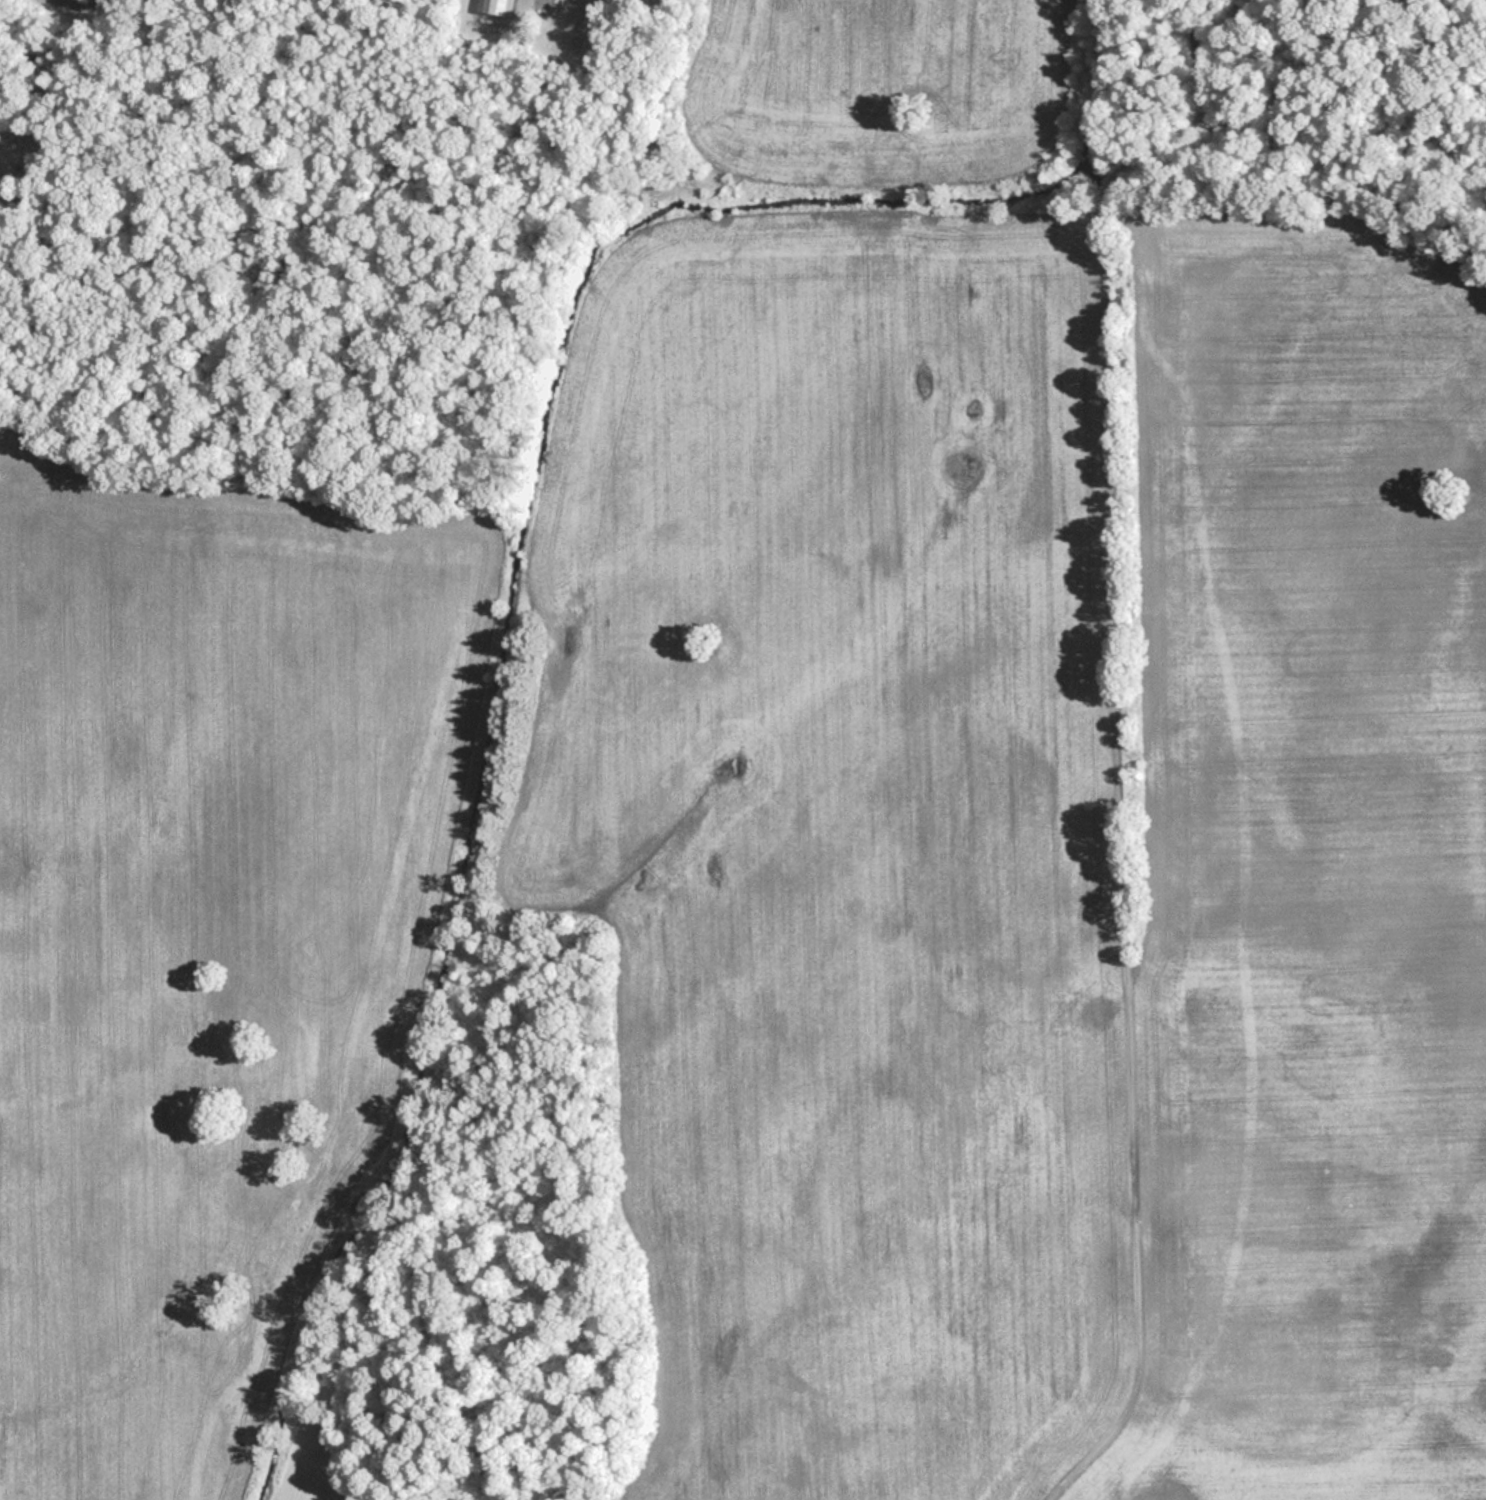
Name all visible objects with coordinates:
road: (79, 1)
building: (1325, 165)
road: (1109, 740)

